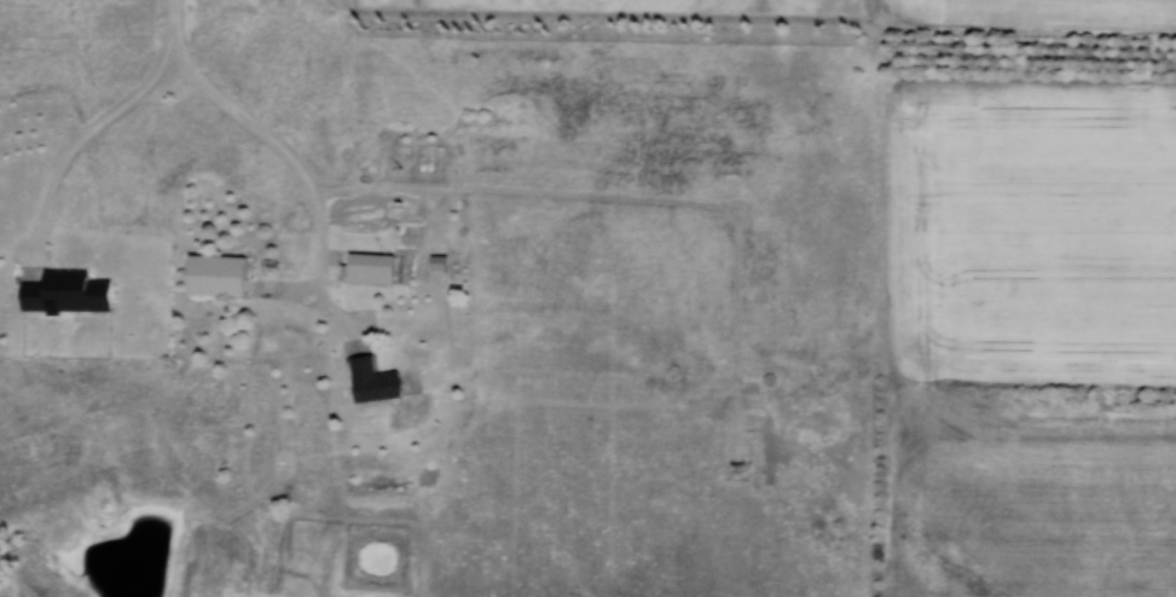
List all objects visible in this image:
road: (102, 126)
road: (302, 170)
building: (214, 277)
building: (64, 294)
building: (371, 382)

